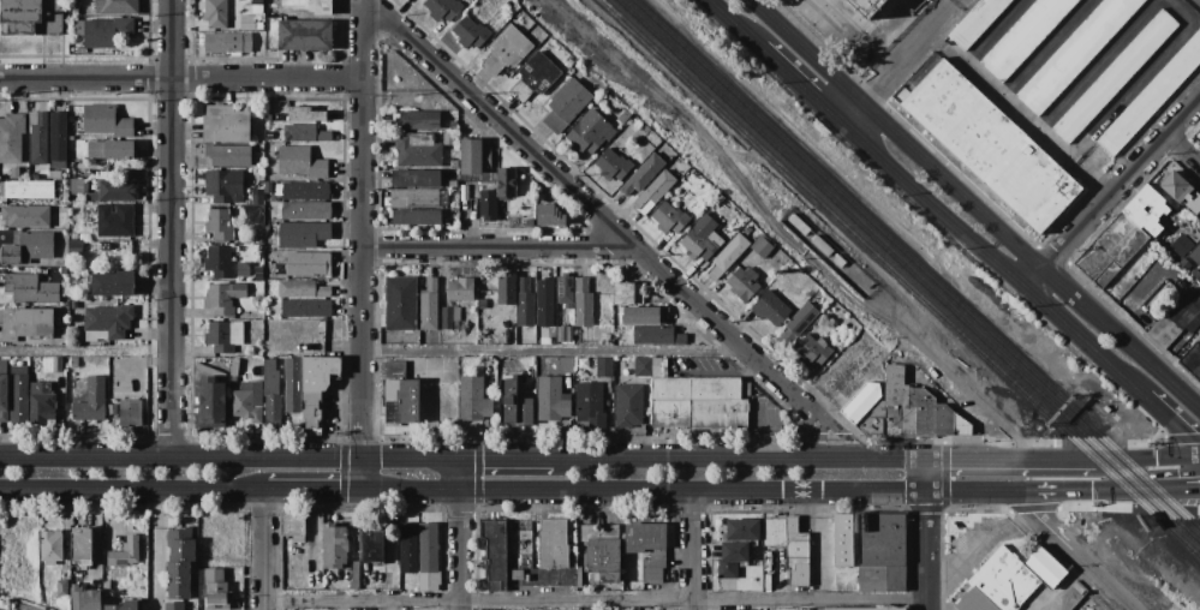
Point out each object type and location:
building: (257, 4)
building: (309, 6)
building: (866, 6)
building: (117, 7)
building: (506, 7)
building: (442, 8)
building: (73, 10)
building: (215, 14)
building: (31, 18)
building: (518, 19)
building: (974, 22)
road: (735, 24)
building: (259, 26)
building: (107, 31)
building: (471, 32)
building: (305, 35)
building: (541, 36)
building: (1022, 36)
building: (259, 37)
building: (269, 38)
building: (228, 43)
road: (905, 49)
building: (506, 50)
building: (1075, 54)
building: (569, 62)
building: (535, 77)
road: (181, 78)
building: (1114, 78)
road: (799, 85)
building: (1151, 97)
building: (566, 106)
building: (305, 114)
building: (275, 118)
building: (623, 118)
building: (105, 120)
building: (418, 121)
building: (226, 124)
building: (453, 125)
road: (1032, 125)
building: (304, 133)
building: (589, 133)
building: (11, 137)
building: (1199, 137)
building: (447, 138)
building: (38, 139)
building: (58, 142)
building: (986, 143)
road: (1186, 146)
building: (418, 149)
building: (112, 150)
building: (234, 155)
building: (473, 156)
building: (300, 162)
building: (453, 165)
building: (258, 166)
building: (613, 166)
building: (14, 172)
building: (55, 175)
building: (643, 175)
building: (267, 177)
building: (43, 178)
building: (416, 179)
building: (507, 183)
building: (78, 186)
building: (223, 186)
building: (1175, 186)
building: (26, 190)
building: (118, 191)
building: (305, 192)
building: (655, 192)
road: (1111, 196)
building: (91, 198)
building: (419, 198)
building: (257, 199)
building: (1193, 203)
building: (488, 205)
road: (590, 205)
road: (973, 207)
building: (59, 209)
building: (306, 210)
building: (1146, 210)
building: (255, 213)
building: (25, 216)
building: (549, 216)
building: (416, 217)
building: (670, 219)
building: (115, 220)
building: (220, 225)
building: (798, 225)
building: (1186, 227)
building: (1199, 227)
railway: (849, 228)
road: (173, 229)
building: (303, 234)
building: (259, 240)
building: (73, 245)
road: (363, 245)
building: (699, 245)
building: (1180, 245)
building: (822, 246)
building: (105, 247)
building: (760, 247)
building: (28, 249)
road: (500, 250)
building: (1111, 250)
building: (727, 256)
building: (1195, 257)
road: (989, 259)
building: (838, 262)
building: (219, 263)
railway: (915, 263)
building: (308, 265)
building: (243, 270)
railway: (909, 271)
building: (258, 273)
building: (112, 283)
building: (742, 283)
building: (295, 288)
building: (30, 289)
building: (461, 289)
building: (506, 289)
building: (565, 291)
building: (64, 292)
building: (627, 293)
building: (223, 298)
building: (400, 303)
building: (583, 303)
building: (525, 304)
building: (544, 304)
building: (72, 305)
building: (275, 309)
building: (306, 309)
building: (770, 309)
building: (429, 312)
building: (644, 315)
building: (450, 318)
building: (32, 322)
building: (1172, 322)
building: (107, 323)
building: (796, 324)
building: (1198, 331)
building: (657, 335)
building: (223, 336)
building: (563, 336)
building: (605, 336)
building: (812, 351)
road: (550, 352)
building: (1192, 360)
building: (73, 363)
building: (591, 363)
building: (47, 365)
building: (56, 365)
building: (541, 366)
building: (641, 366)
building: (234, 367)
building: (604, 367)
road: (710, 367)
building: (578, 370)
building: (115, 371)
building: (320, 372)
building: (293, 373)
building: (270, 377)
road: (842, 378)
building: (233, 381)
building: (4, 391)
building: (401, 394)
building: (18, 395)
building: (473, 400)
building: (508, 400)
building: (551, 400)
building: (91, 401)
building: (247, 402)
building: (860, 402)
building: (589, 403)
building: (700, 403)
building: (628, 406)
building: (43, 408)
building: (273, 409)
building: (311, 409)
building: (525, 412)
building: (909, 412)
building: (130, 415)
road: (1171, 424)
building: (514, 431)
road: (841, 435)
road: (816, 436)
road: (1146, 459)
road: (229, 460)
traffic signals: (364, 460)
road: (507, 460)
road: (682, 460)
road: (840, 460)
road: (896, 460)
road: (1008, 460)
road: (461, 476)
road: (924, 476)
road: (1180, 489)
road: (314, 491)
traffic signals: (364, 491)
road: (644, 491)
road: (131, 492)
road: (1102, 492)
road: (984, 494)
railway: (1146, 508)
building: (293, 527)
building: (742, 530)
building: (774, 531)
road: (814, 537)
building: (842, 539)
building: (554, 544)
building: (181, 545)
building: (374, 545)
building: (50, 546)
building: (334, 546)
building: (82, 548)
building: (408, 548)
building: (428, 548)
building: (647, 548)
road: (154, 550)
road: (262, 550)
road: (461, 550)
road: (692, 550)
building: (603, 551)
road: (924, 551)
building: (125, 552)
building: (880, 552)
building: (495, 555)
building: (796, 555)
road: (1082, 556)
building: (732, 558)
building: (1045, 567)
building: (179, 572)
building: (356, 572)
building: (120, 573)
building: (529, 578)
building: (578, 578)
building: (995, 584)
road: (1064, 585)
building: (61, 588)
building: (179, 590)
building: (216, 590)
building: (85, 599)
road: (593, 600)
building: (127, 605)
building: (174, 606)
building: (868, 609)

